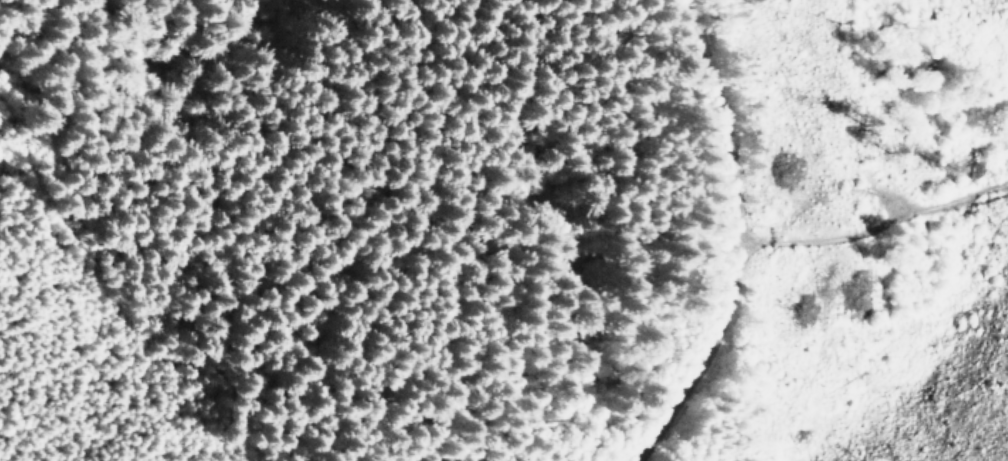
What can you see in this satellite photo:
road: (869, 221)
road: (729, 239)

